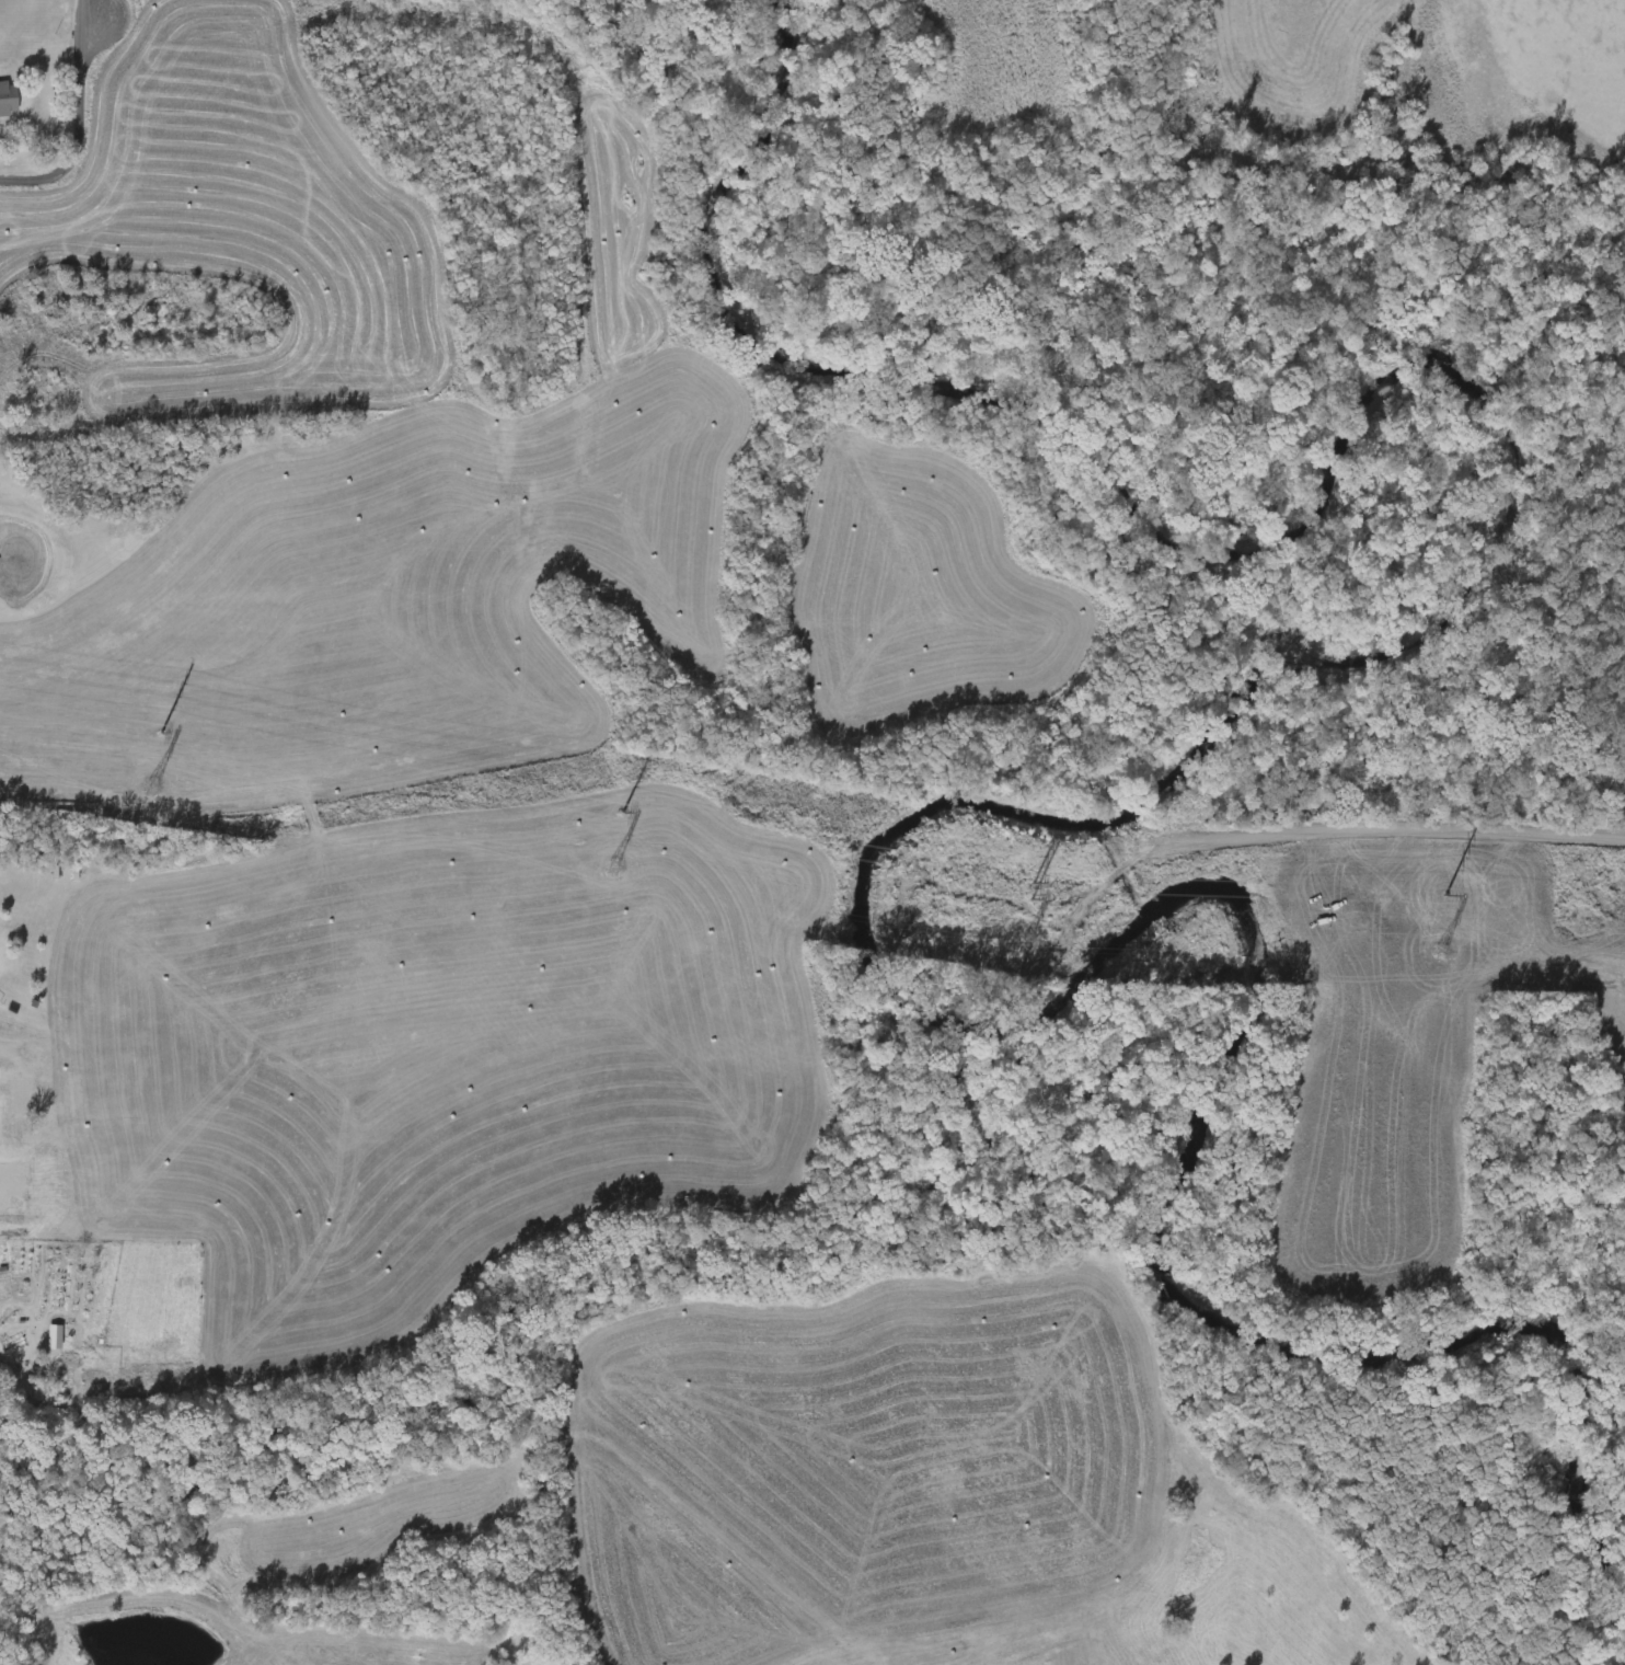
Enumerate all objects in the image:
building: (8, 101)
road: (76, 127)
power tower: (160, 734)
power tower: (622, 814)
river: (1120, 816)
road: (1397, 832)
power tower: (1034, 884)
power tower: (1444, 897)
river: (1451, 1347)

